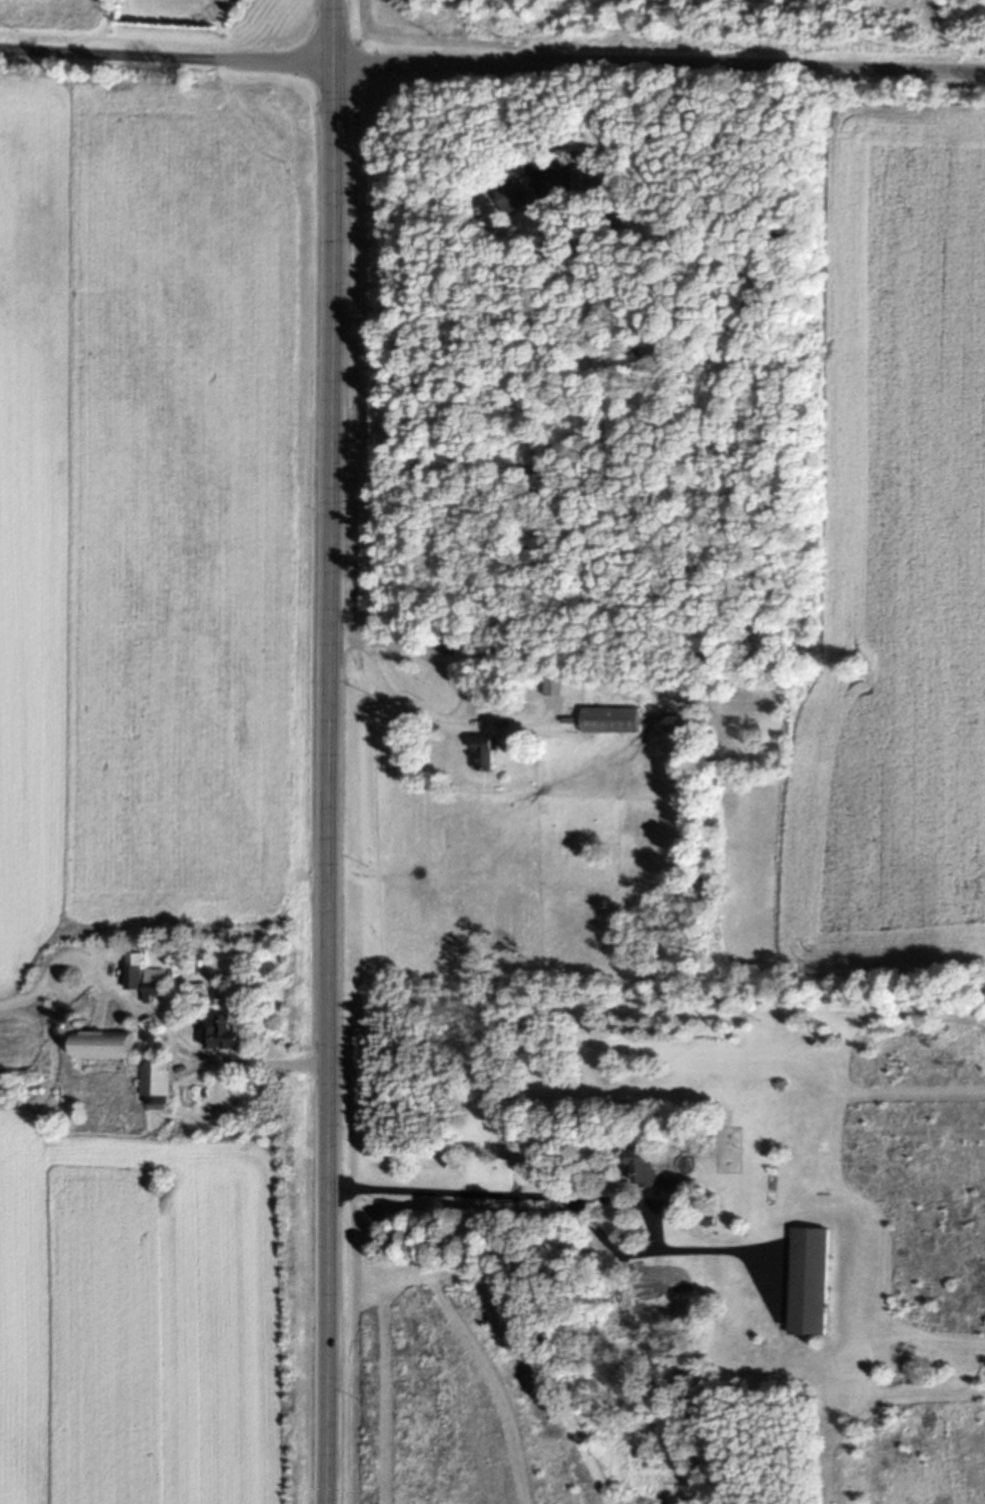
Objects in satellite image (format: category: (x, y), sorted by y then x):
road: (492, 65)
road: (546, 122)
building: (589, 181)
building: (514, 197)
road: (435, 662)
road: (422, 712)
building: (609, 721)
road: (330, 751)
building: (484, 755)
building: (132, 972)
building: (153, 983)
building: (224, 1036)
building: (103, 1046)
road: (253, 1063)
building: (153, 1083)
building: (644, 1170)
road: (562, 1198)
road: (734, 1251)
building: (809, 1283)
building: (655, 1302)

